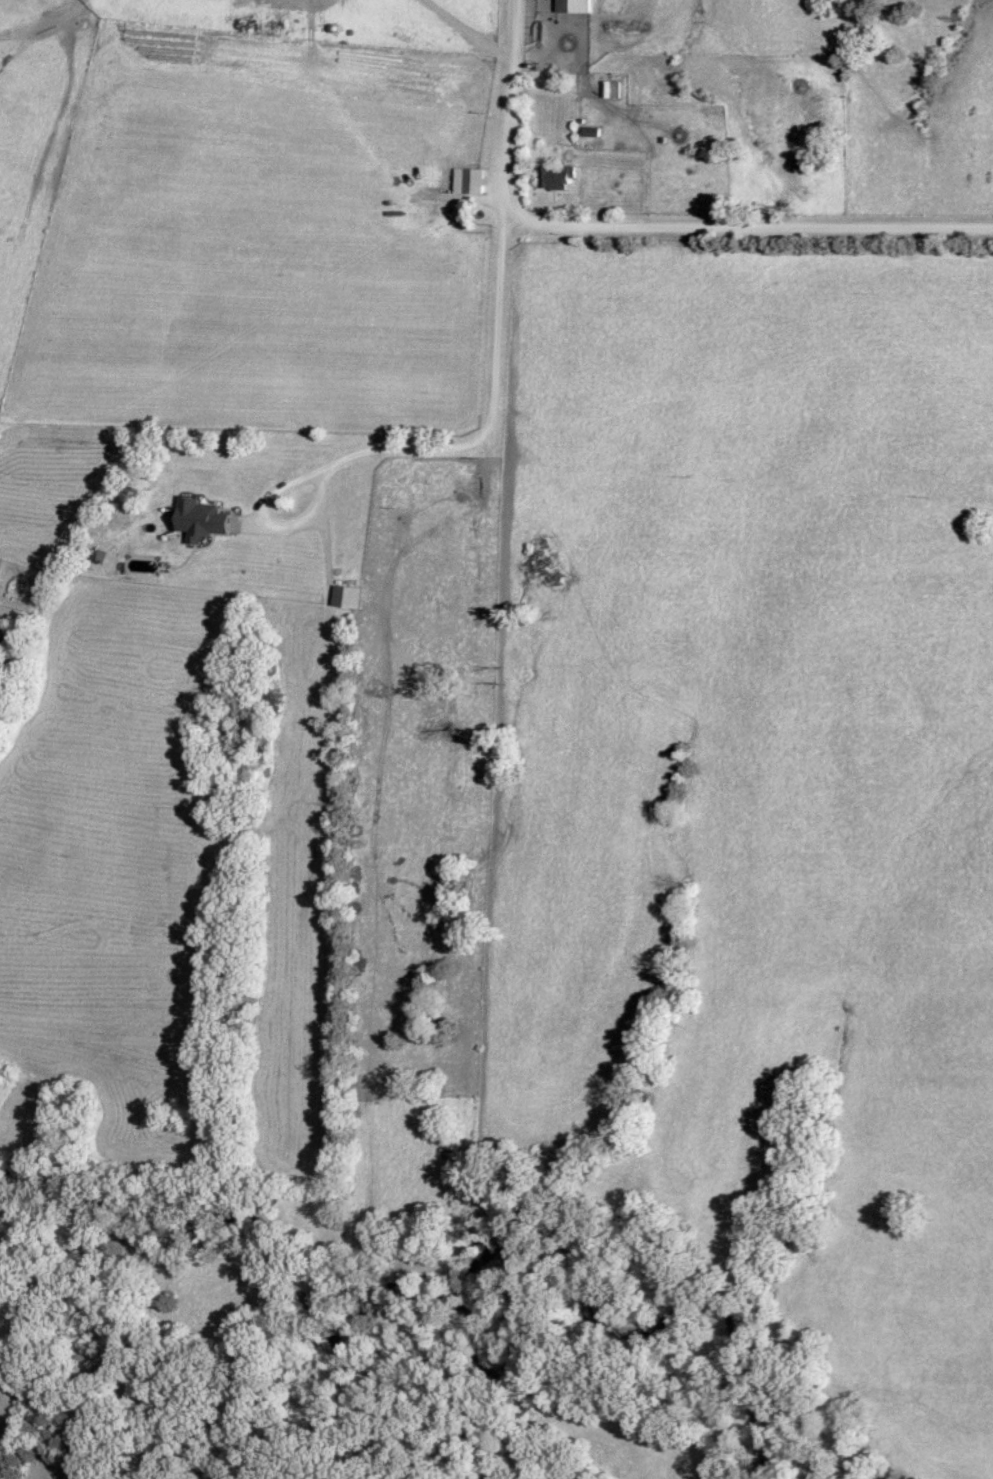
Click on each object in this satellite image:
building: (573, 7)
road: (469, 32)
building: (558, 177)
building: (470, 182)
road: (646, 226)
road: (424, 447)
building: (347, 598)

